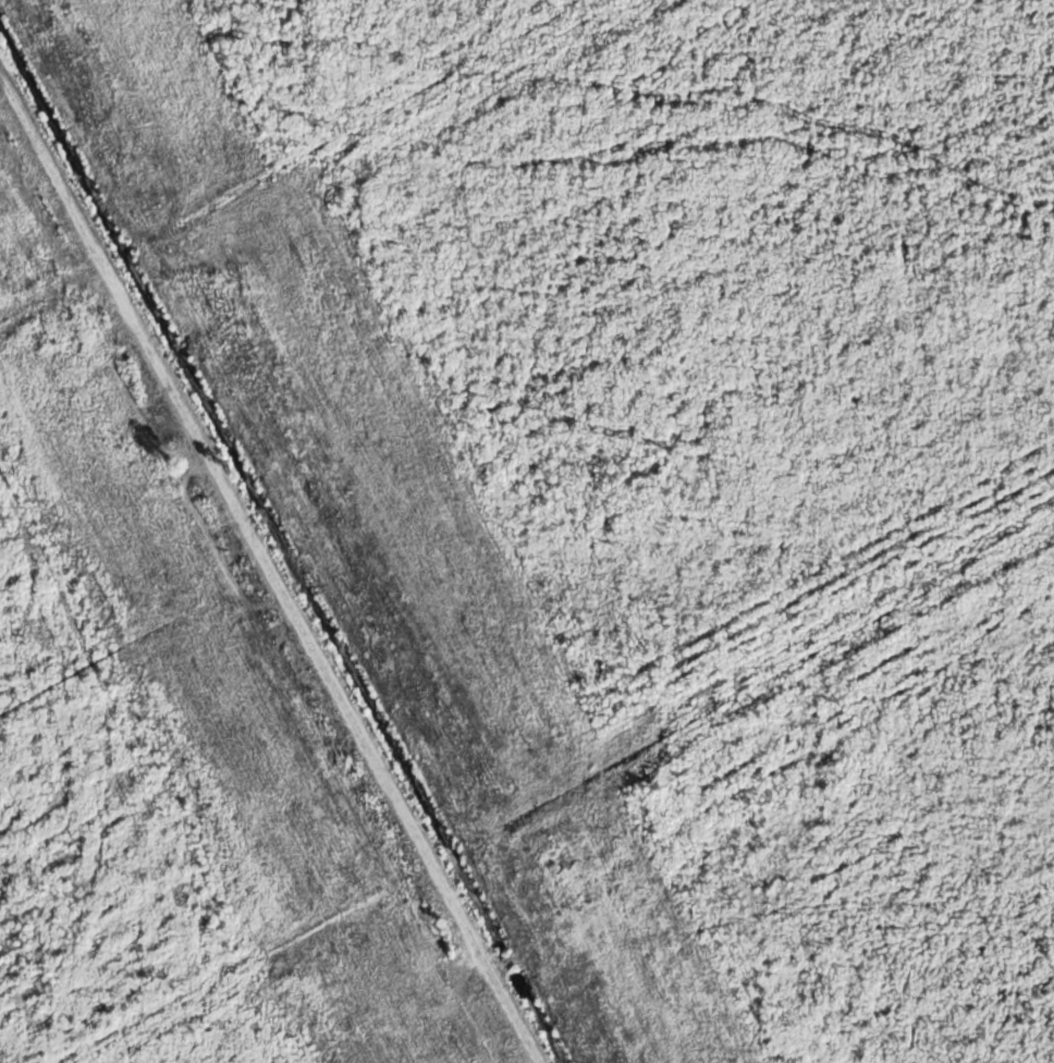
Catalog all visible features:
road: (237, 637)

